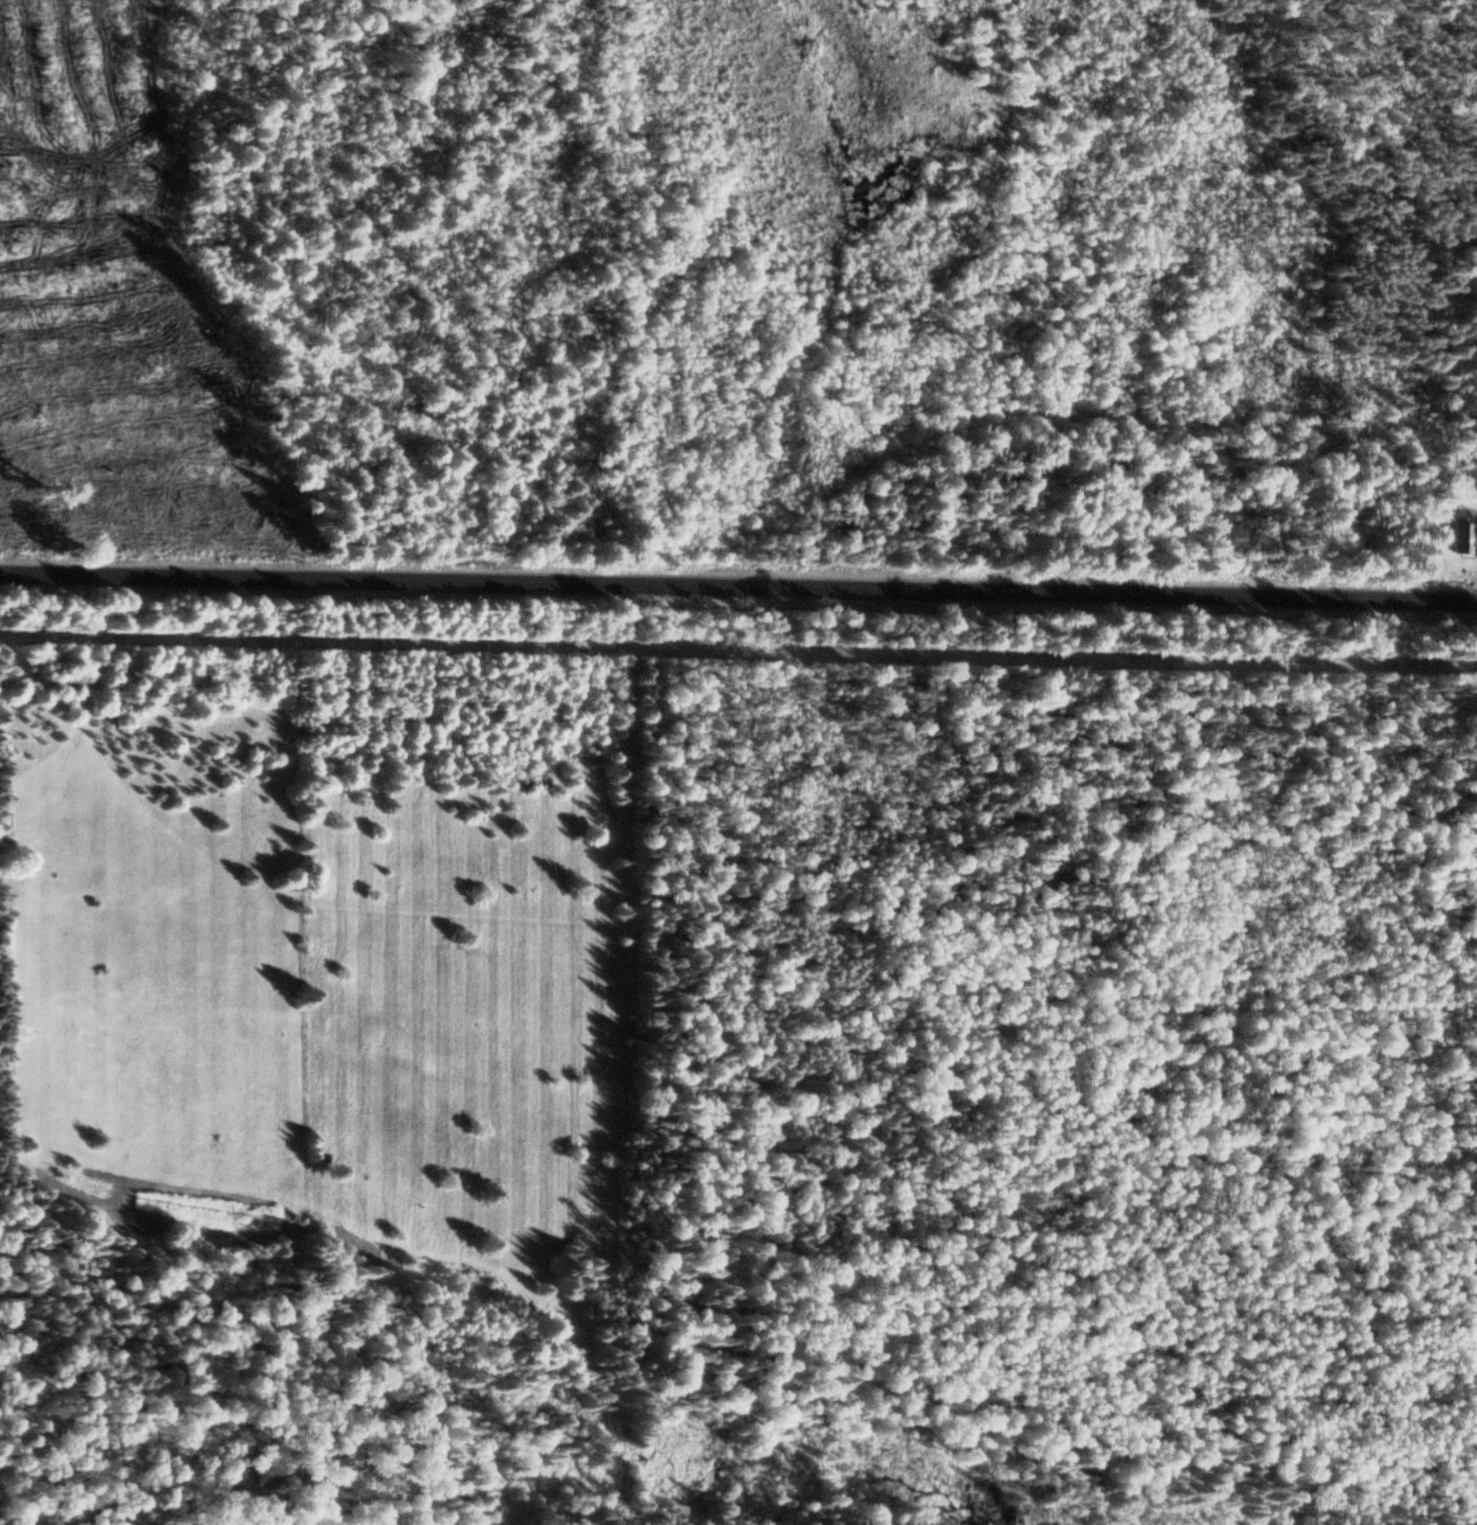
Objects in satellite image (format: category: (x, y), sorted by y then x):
building: (1464, 537)
road: (738, 588)

